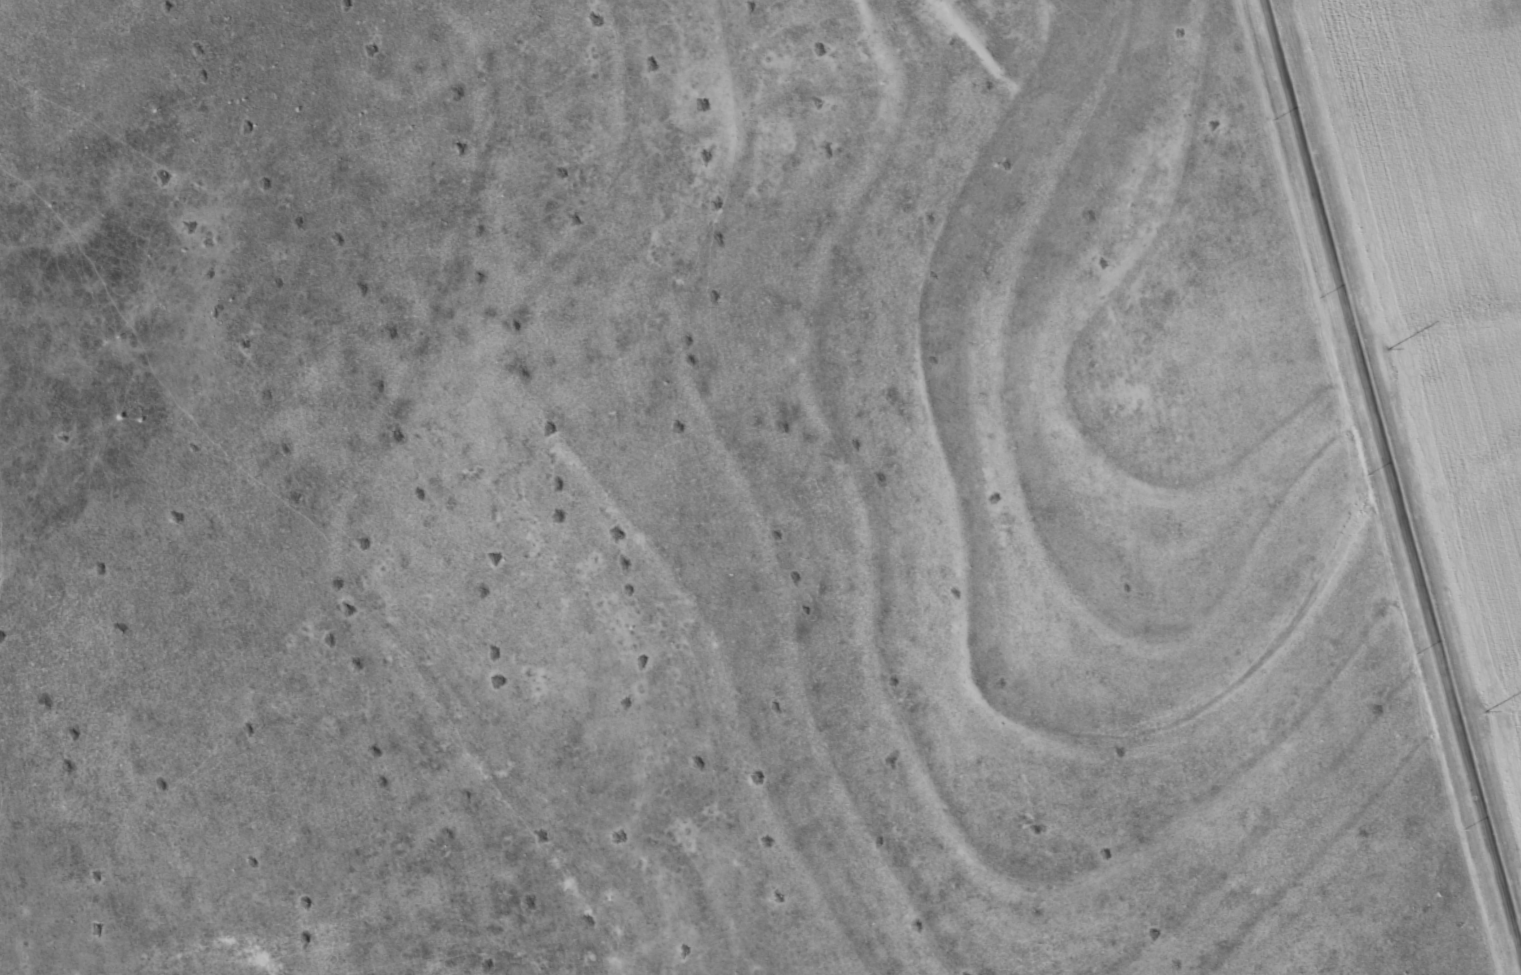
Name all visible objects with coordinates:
power tower: (1388, 350)
road: (1392, 477)
power tower: (1486, 709)

